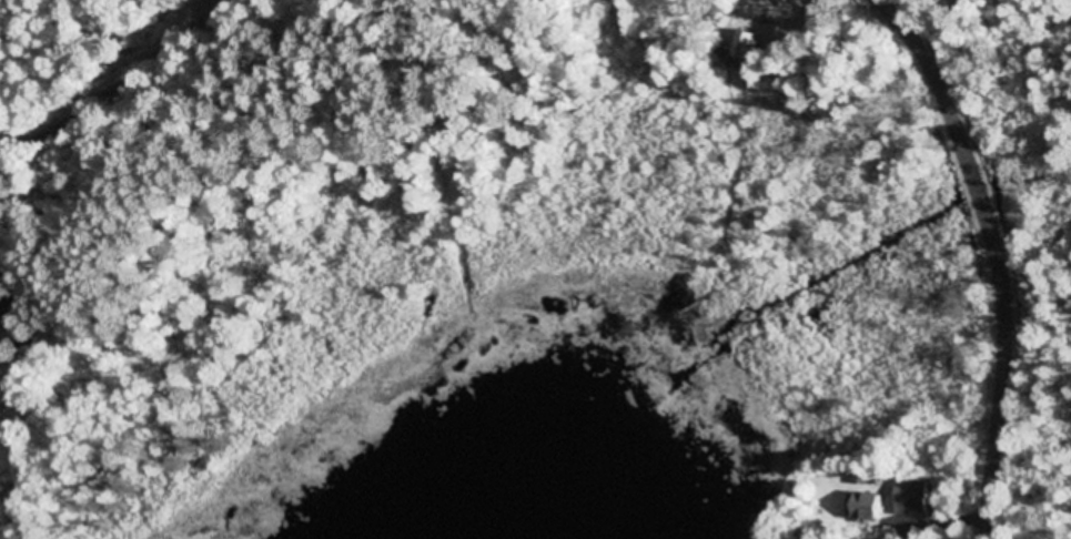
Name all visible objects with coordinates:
building: (749, 49)
road: (129, 87)
road: (1, 153)
road: (1000, 255)

